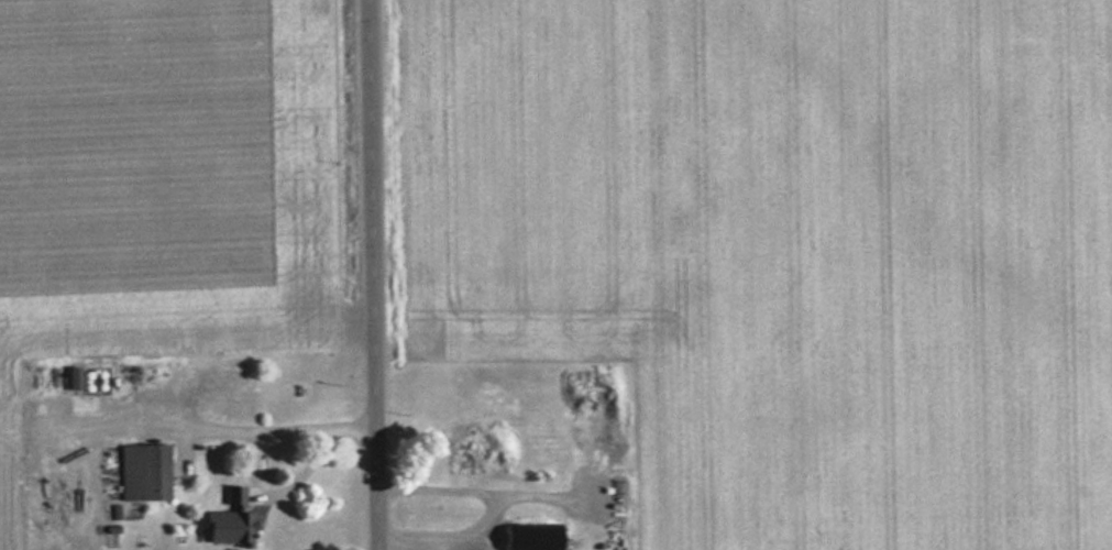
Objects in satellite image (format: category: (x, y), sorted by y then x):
road: (376, 275)
building: (75, 373)
building: (218, 389)
building: (464, 461)
building: (144, 473)
building: (234, 497)
building: (242, 529)
building: (533, 538)

